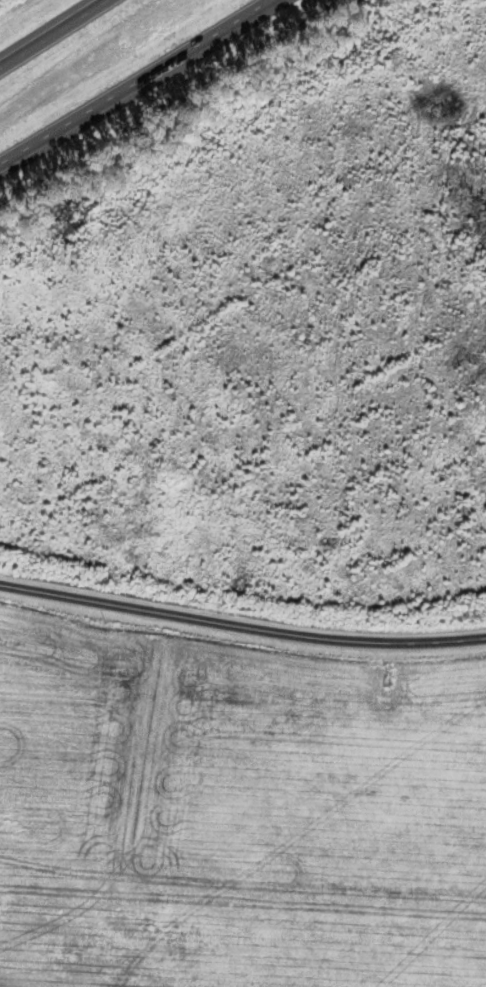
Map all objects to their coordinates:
road: (45, 28)
road: (134, 81)
road: (241, 627)

